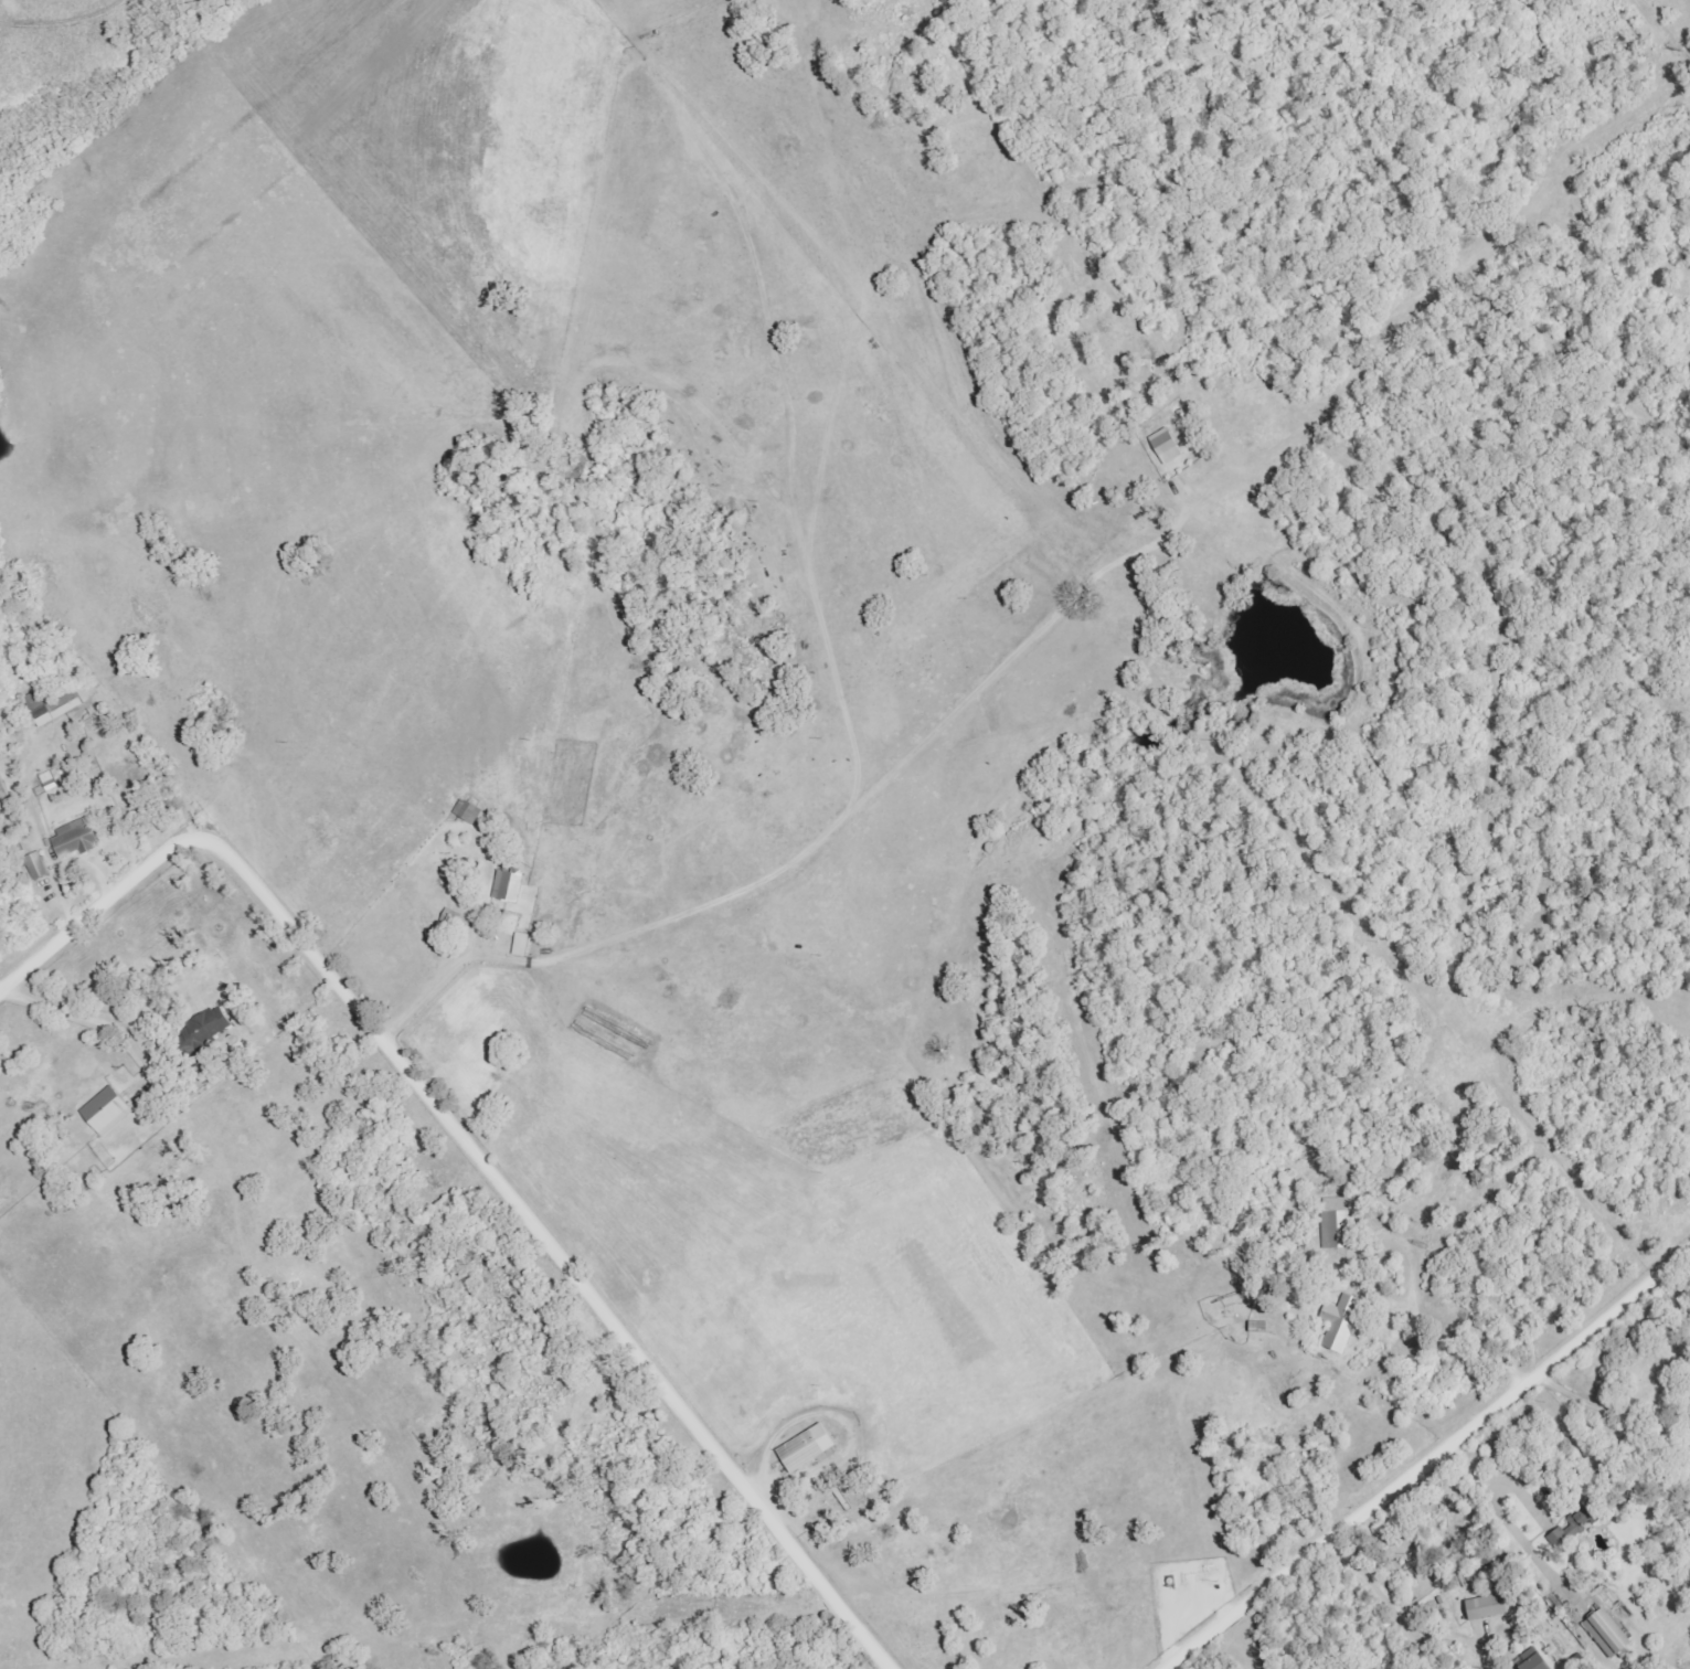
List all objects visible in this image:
building: (1165, 446)
building: (52, 706)
building: (49, 782)
building: (467, 811)
building: (74, 838)
building: (36, 865)
building: (507, 886)
road: (444, 985)
road: (0, 990)
road: (89, 1007)
building: (206, 1025)
building: (105, 1112)
road: (475, 1147)
building: (1337, 1222)
road: (1462, 1305)
building: (1339, 1322)
building: (805, 1448)
road: (1431, 1464)
road: (1528, 1500)
building: (1579, 1519)
building: (1487, 1607)
building: (1605, 1634)
building: (1530, 1661)

